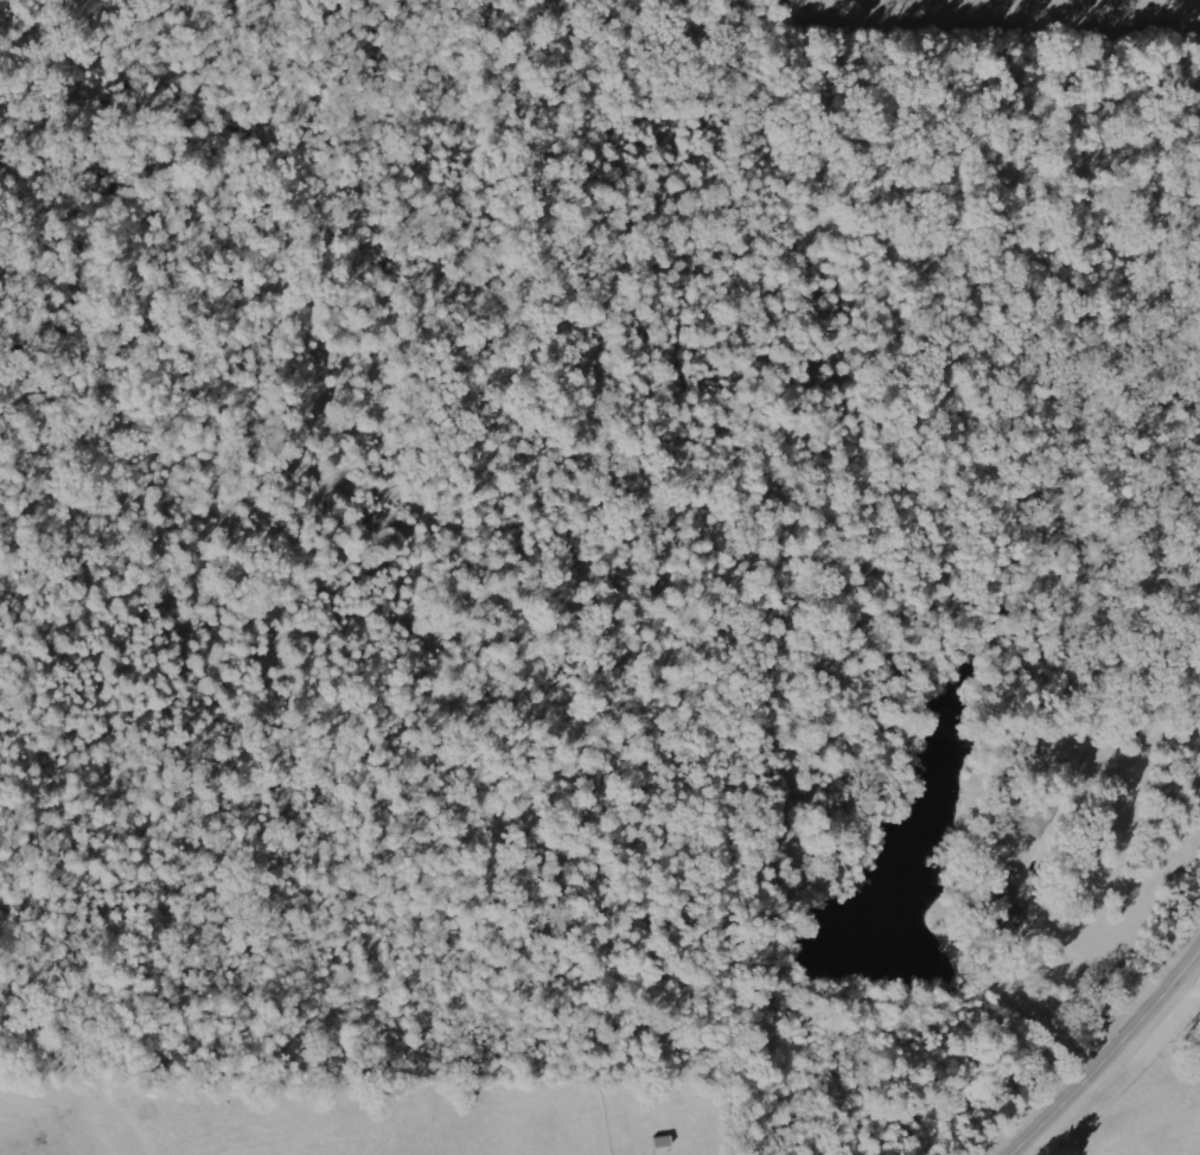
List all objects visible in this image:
road: (1122, 762)
road: (643, 964)
road: (1105, 1052)

